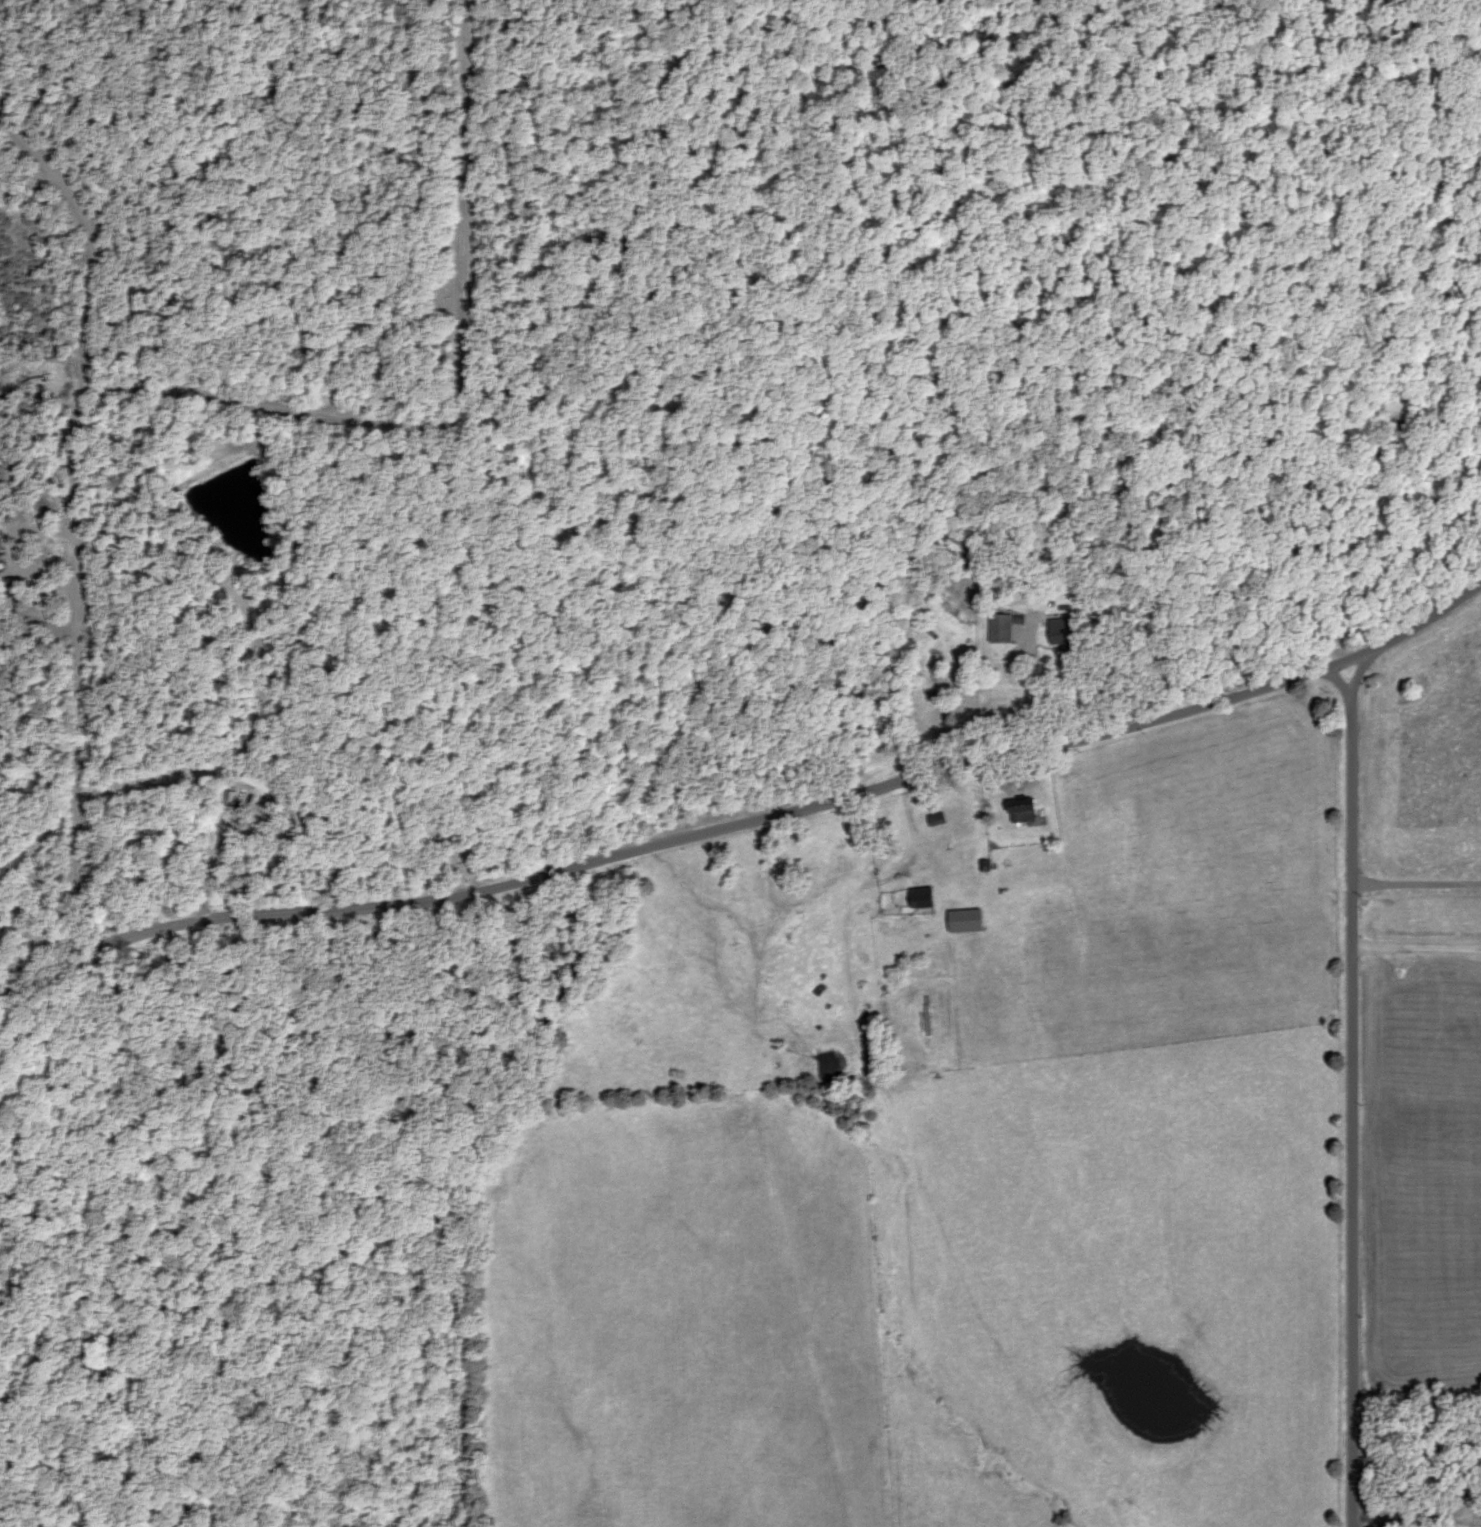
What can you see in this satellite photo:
road: (80, 508)
building: (0, 557)
building: (18, 587)
building: (1004, 628)
building: (1064, 631)
building: (262, 782)
building: (1026, 811)
building: (938, 820)
road: (805, 833)
building: (925, 898)
road: (34, 922)
road: (37, 954)
road: (75, 967)
road: (1342, 1106)

